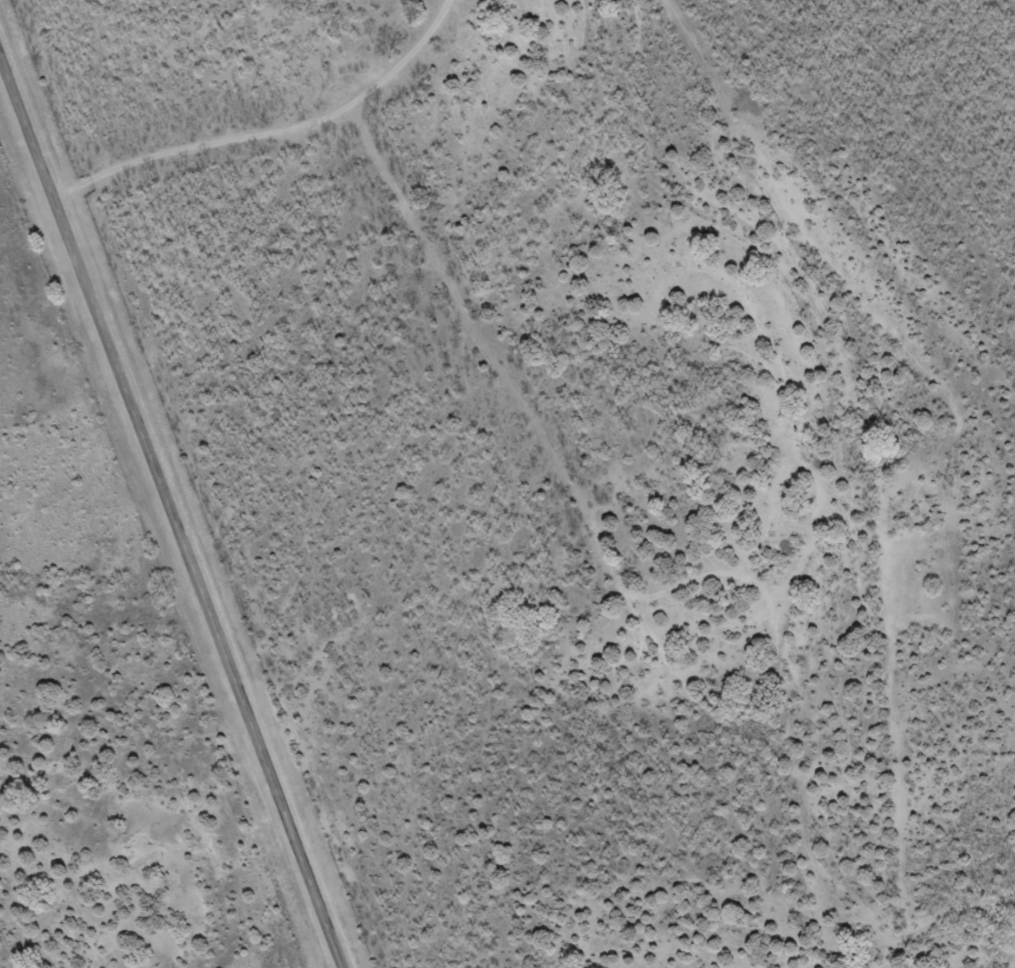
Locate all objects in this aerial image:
road: (172, 509)

